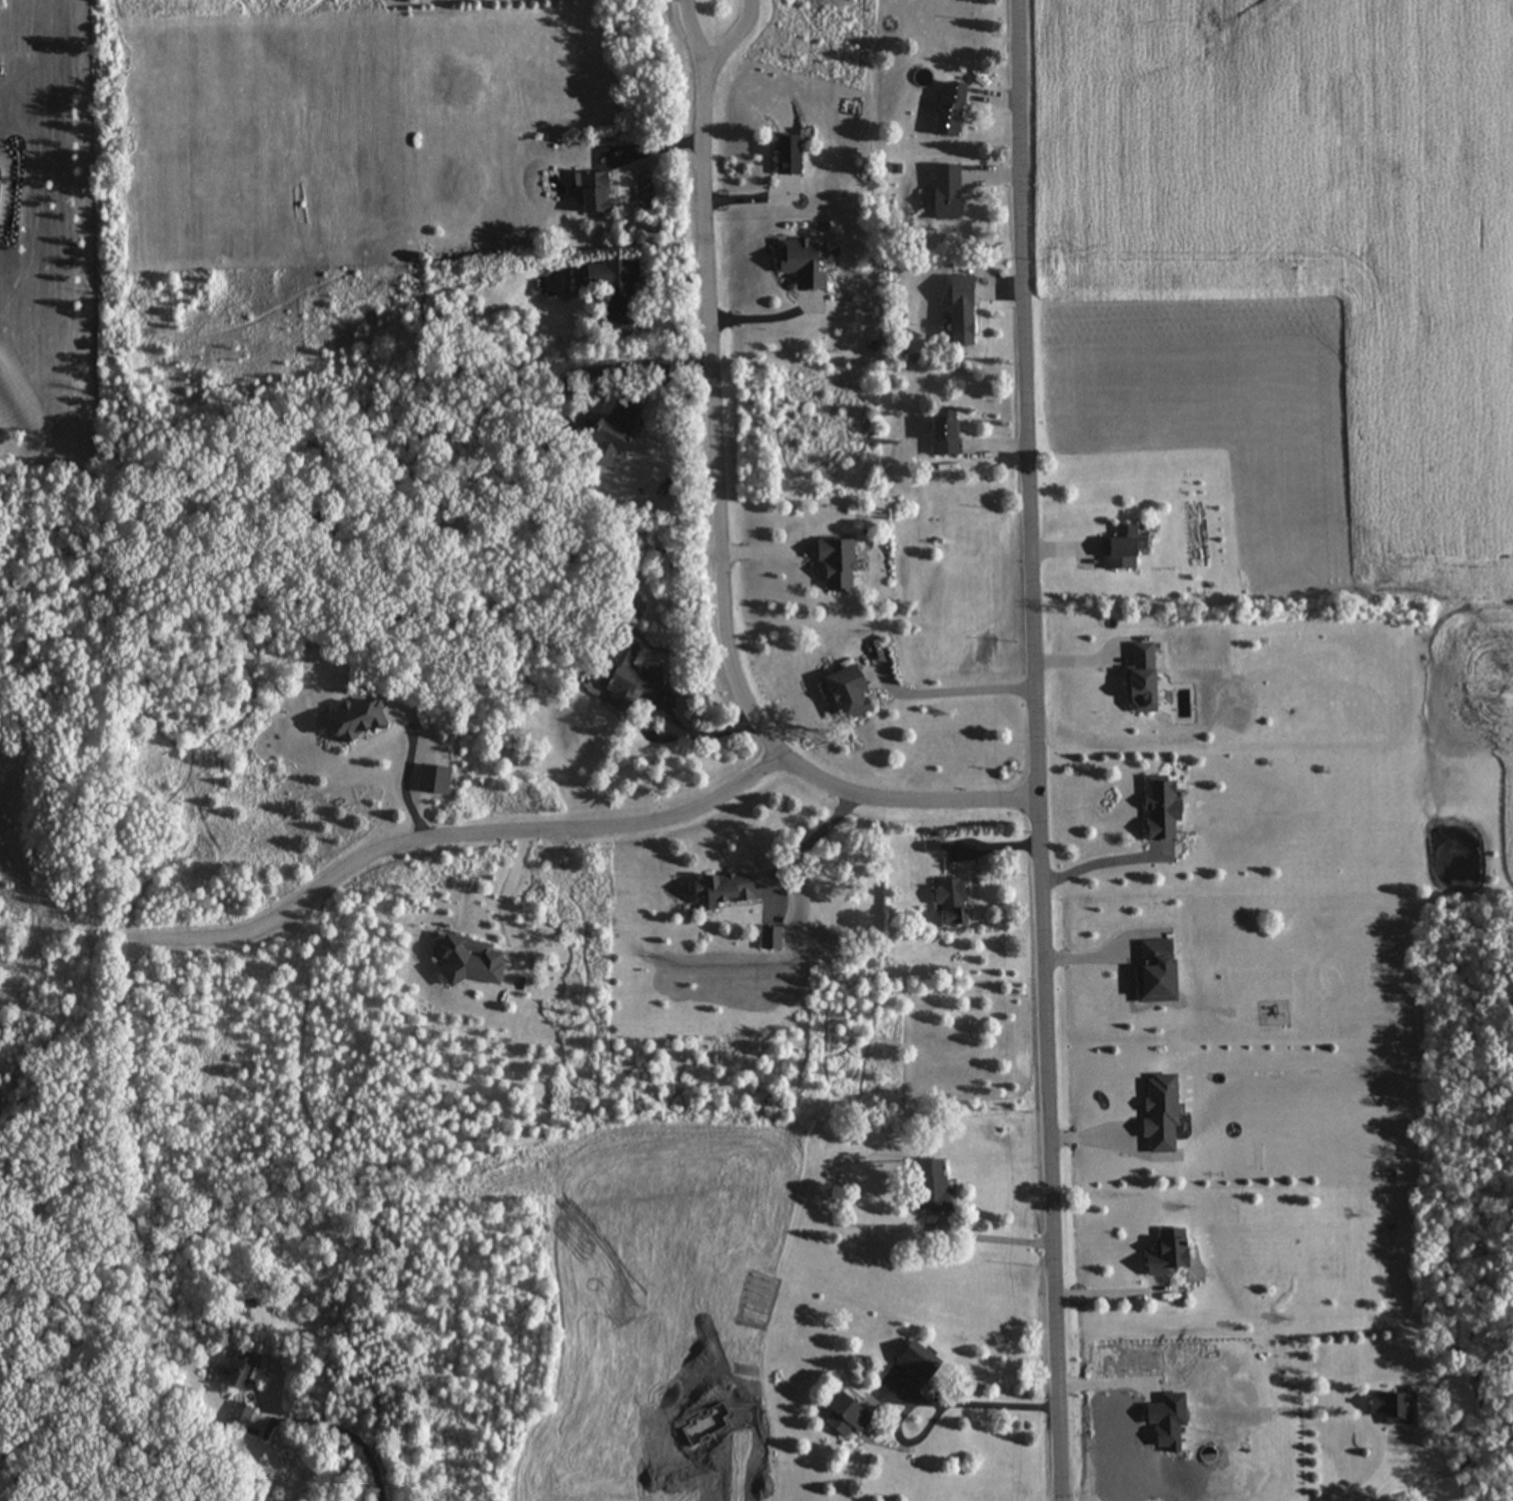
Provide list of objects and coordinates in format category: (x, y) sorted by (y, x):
road: (716, 1)
road: (718, 1)
building: (946, 109)
building: (784, 154)
building: (590, 192)
road: (745, 192)
building: (943, 197)
building: (801, 262)
building: (608, 292)
building: (958, 311)
road: (714, 390)
building: (609, 433)
building: (943, 433)
building: (1121, 549)
building: (835, 564)
building: (626, 678)
building: (1138, 679)
road: (960, 689)
building: (846, 693)
building: (352, 719)
road: (690, 731)
road: (1042, 750)
building: (1156, 809)
road: (906, 810)
road: (807, 841)
road: (442, 844)
road: (1101, 865)
building: (721, 889)
building: (948, 902)
road: (505, 913)
building: (466, 961)
building: (1153, 972)
building: (1157, 1115)
building: (927, 1186)
road: (993, 1235)
building: (1162, 1254)
road: (1110, 1294)
building: (915, 1362)
building: (233, 1372)
road: (993, 1401)
building: (1388, 1409)
building: (237, 1416)
building: (842, 1417)
road: (349, 1433)
road: (1385, 1471)

